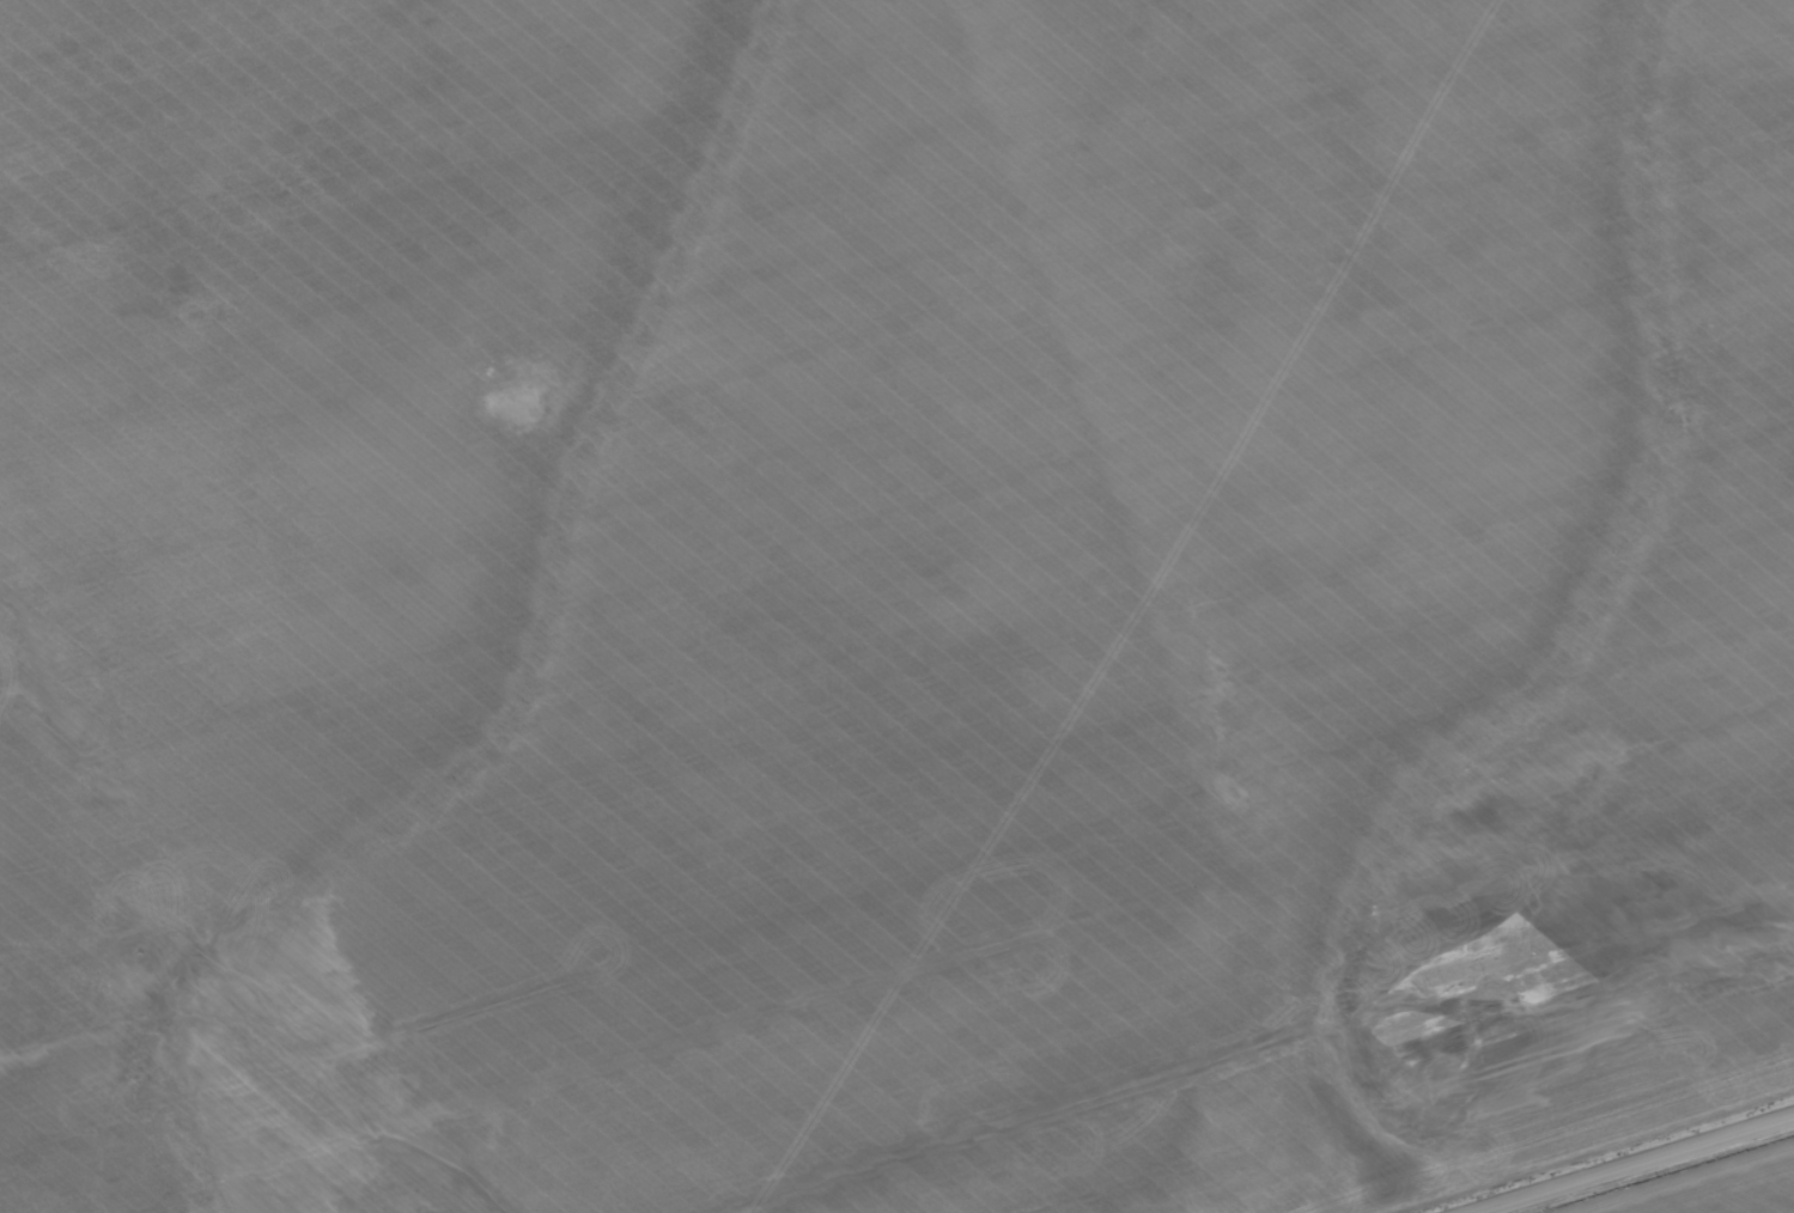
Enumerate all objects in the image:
road: (1634, 1164)

